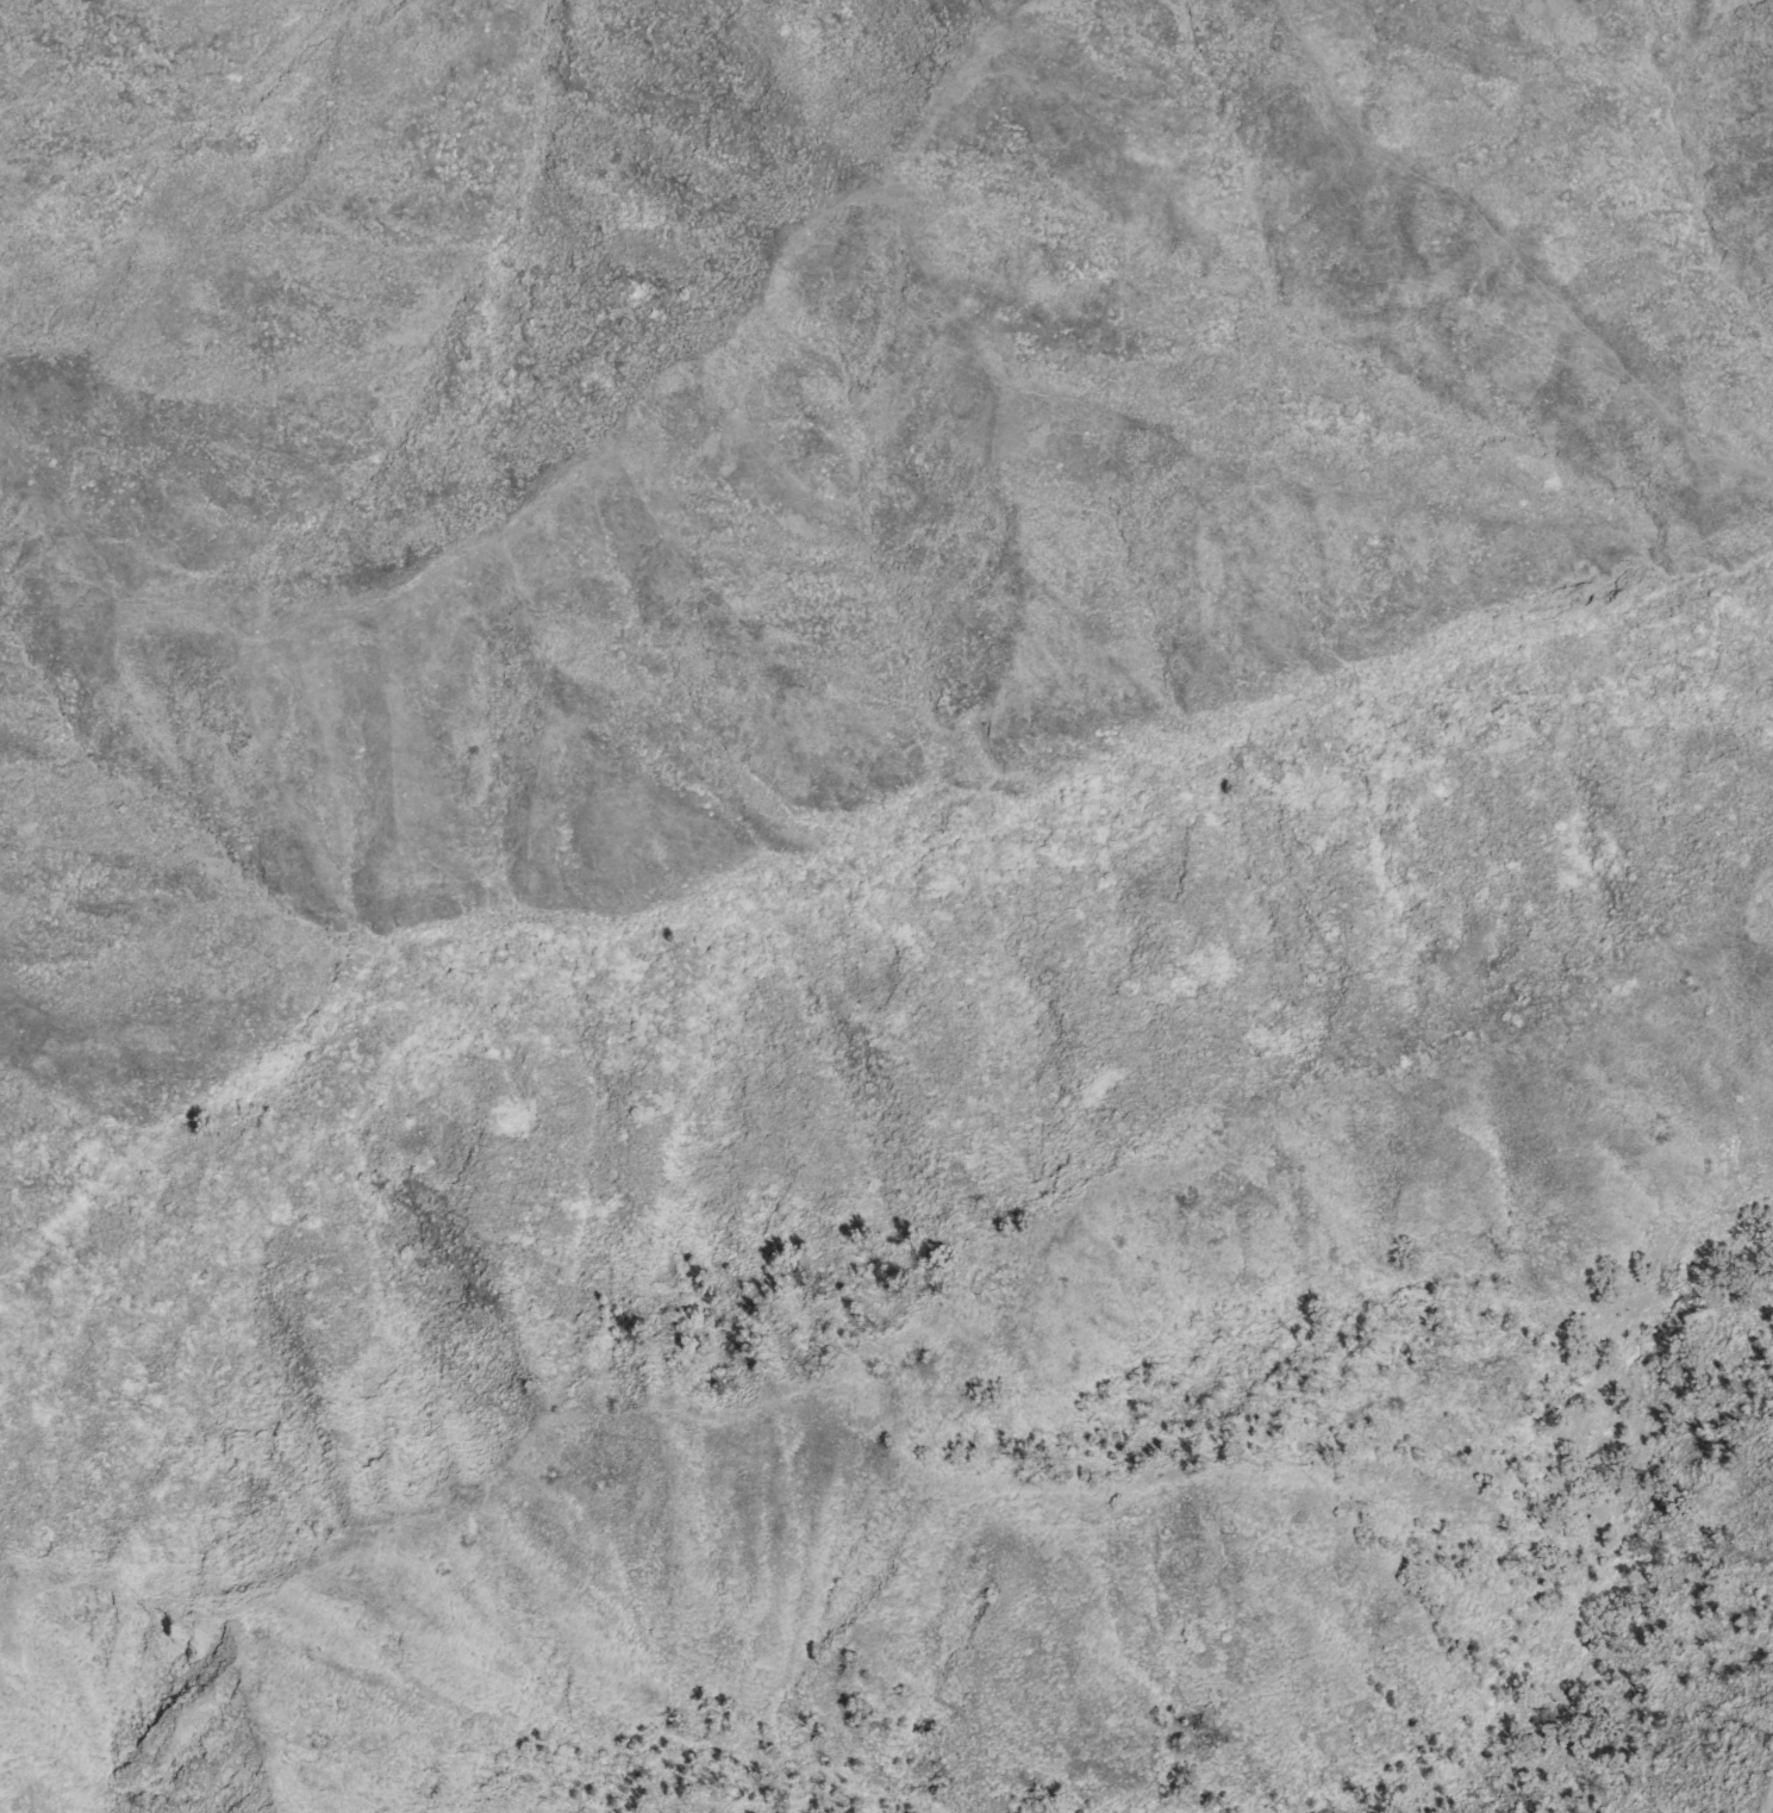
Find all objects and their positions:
road: (1772, 1809)

